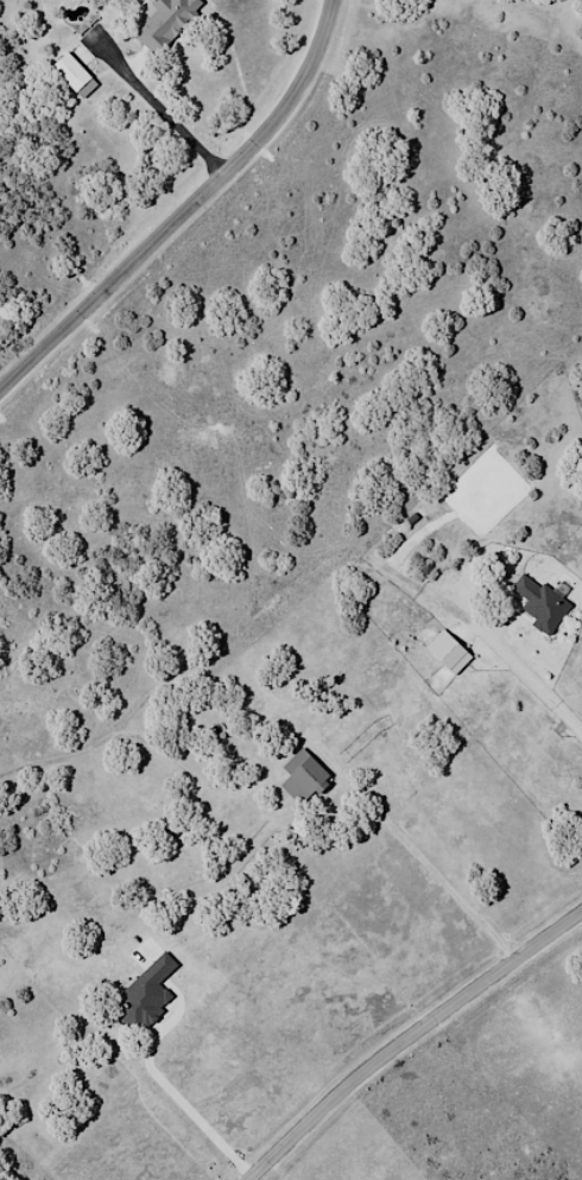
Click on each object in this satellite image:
building: (169, 23)
building: (75, 71)
road: (186, 209)
building: (546, 602)
road: (489, 642)
building: (453, 653)
building: (309, 775)
building: (148, 995)
road: (411, 1038)

